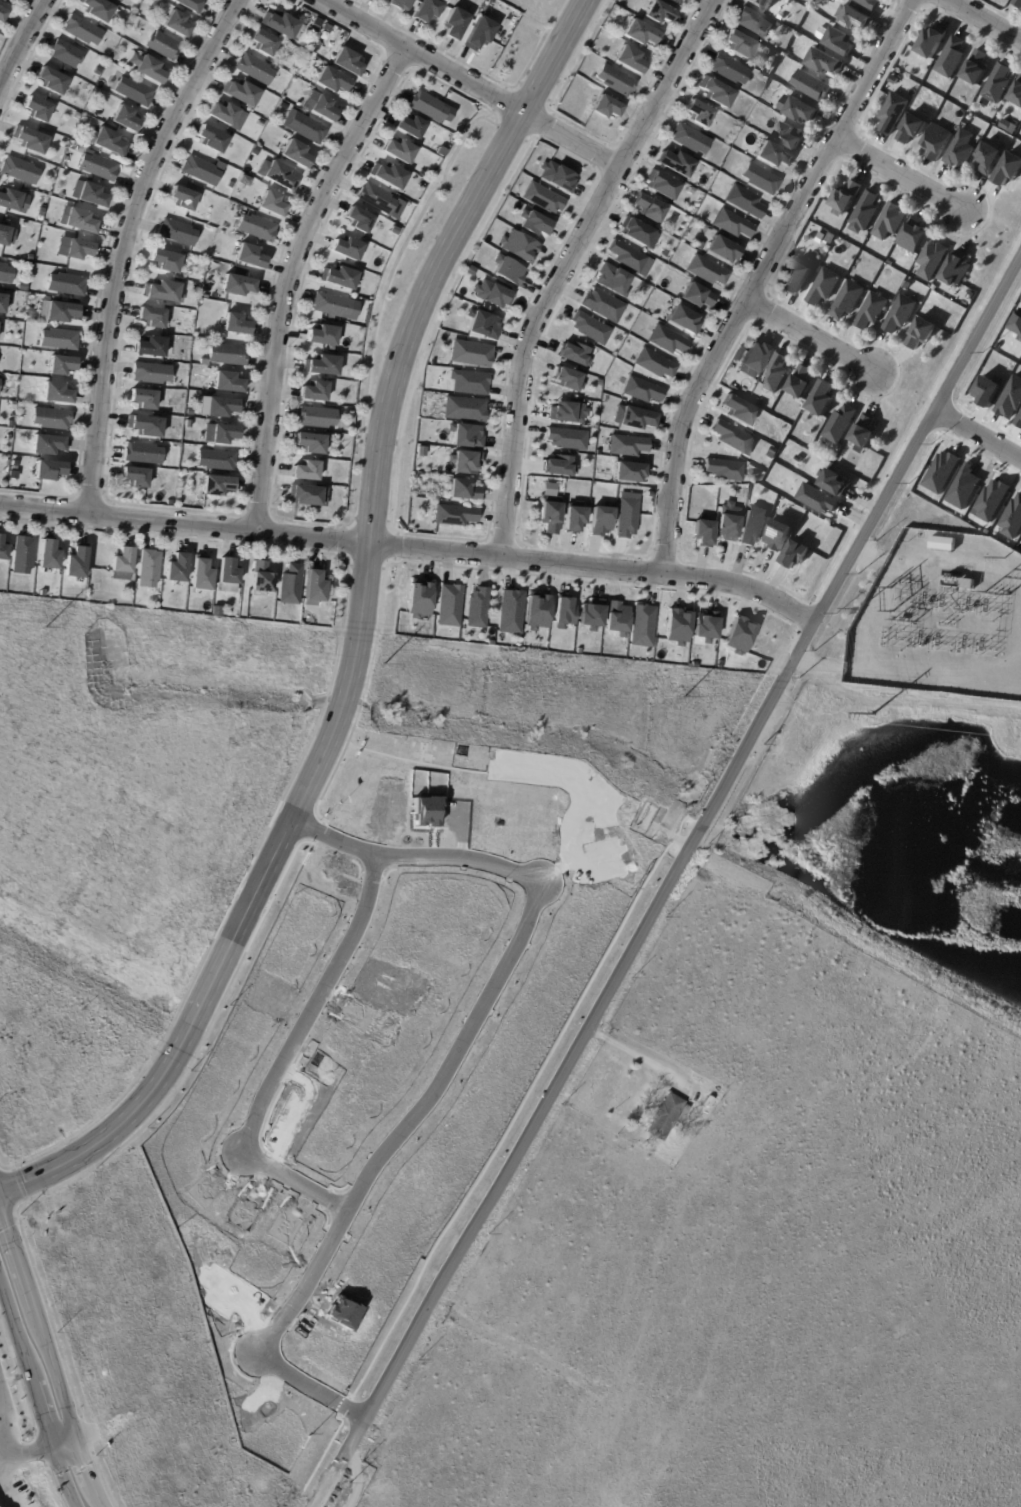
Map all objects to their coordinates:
building: (3, 0)
building: (14, 0)
building: (382, 0)
building: (120, 1)
building: (674, 2)
building: (1017, 3)
building: (190, 4)
building: (403, 4)
building: (763, 4)
building: (867, 4)
building: (99, 10)
building: (428, 10)
building: (658, 14)
building: (3, 15)
building: (778, 19)
building: (855, 19)
road: (983, 20)
building: (175, 22)
building: (456, 22)
building: (317, 23)
building: (753, 24)
building: (283, 26)
building: (83, 31)
building: (481, 33)
building: (639, 34)
building: (839, 42)
building: (931, 42)
road: (22, 43)
building: (265, 43)
building: (164, 45)
building: (737, 45)
building: (68, 54)
building: (116, 57)
building: (950, 58)
building: (629, 60)
building: (347, 62)
building: (824, 63)
building: (148, 68)
building: (255, 69)
building: (975, 69)
building: (726, 70)
building: (53, 81)
building: (332, 81)
building: (613, 81)
road: (471, 84)
building: (997, 84)
building: (810, 87)
building: (135, 91)
building: (243, 94)
building: (715, 94)
building: (1016, 95)
building: (282, 106)
building: (428, 106)
building: (324, 108)
building: (605, 108)
building: (38, 109)
building: (801, 111)
building: (224, 113)
building: (697, 114)
building: (892, 114)
building: (126, 119)
building: (260, 123)
building: (411, 126)
building: (306, 127)
building: (911, 128)
building: (788, 136)
building: (76, 137)
building: (212, 139)
building: (33, 140)
building: (687, 140)
building: (110, 142)
building: (936, 142)
building: (400, 150)
building: (960, 150)
building: (296, 154)
building: (771, 156)
building: (67, 159)
building: (987, 159)
building: (674, 163)
building: (99, 166)
building: (1007, 170)
building: (21, 171)
building: (202, 171)
road: (899, 173)
building: (280, 176)
building: (390, 176)
building: (555, 176)
building: (758, 180)
building: (660, 185)
building: (61, 195)
building: (92, 195)
building: (542, 198)
building: (846, 198)
building: (183, 199)
building: (10, 200)
building: (382, 201)
building: (743, 203)
building: (273, 204)
building: (648, 207)
building: (865, 211)
building: (41, 213)
building: (359, 220)
building: (81, 222)
building: (889, 222)
building: (533, 223)
building: (730, 225)
building: (257, 228)
building: (178, 233)
building: (636, 233)
building: (6, 236)
building: (912, 236)
road: (125, 245)
building: (518, 246)
building: (347, 249)
building: (79, 250)
building: (721, 250)
building: (250, 256)
building: (629, 258)
building: (31, 259)
building: (166, 261)
building: (931, 261)
road: (566, 265)
building: (506, 270)
building: (955, 271)
building: (705, 272)
building: (6, 274)
road: (756, 275)
road: (291, 276)
building: (797, 278)
building: (341, 279)
building: (611, 280)
building: (67, 285)
building: (238, 286)
building: (23, 287)
building: (823, 289)
building: (163, 292)
building: (492, 294)
building: (695, 296)
building: (846, 301)
building: (4, 304)
building: (601, 304)
building: (194, 305)
building: (332, 306)
building: (871, 312)
building: (60, 314)
building: (900, 315)
building: (152, 318)
building: (682, 321)
building: (482, 324)
building: (1017, 324)
building: (237, 325)
building: (589, 328)
building: (921, 334)
building: (322, 336)
road: (809, 336)
building: (60, 340)
building: (666, 342)
building: (151, 348)
building: (469, 353)
building: (573, 354)
building: (228, 356)
building: (752, 358)
building: (203, 362)
building: (653, 364)
building: (62, 366)
building: (323, 367)
building: (152, 374)
building: (775, 374)
building: (567, 378)
building: (468, 382)
building: (0, 383)
building: (228, 383)
building: (800, 383)
building: (986, 390)
building: (314, 392)
building: (642, 392)
building: (57, 394)
building: (742, 395)
building: (1010, 398)
building: (821, 399)
building: (144, 400)
building: (12, 406)
building: (223, 408)
building: (463, 408)
building: (737, 411)
building: (189, 412)
building: (566, 412)
building: (52, 419)
building: (317, 419)
building: (635, 419)
building: (1019, 422)
building: (840, 425)
building: (13, 427)
building: (148, 427)
building: (863, 432)
road: (978, 433)
building: (222, 434)
building: (465, 435)
building: (9, 438)
building: (565, 438)
building: (732, 438)
building: (311, 444)
building: (48, 445)
building: (627, 447)
building: (144, 454)
building: (216, 462)
building: (463, 462)
building: (557, 465)
building: (50, 471)
building: (722, 471)
building: (941, 471)
building: (306, 472)
building: (628, 472)
building: (136, 478)
building: (831, 481)
building: (217, 487)
building: (963, 487)
building: (462, 491)
building: (309, 497)
building: (817, 499)
building: (991, 500)
building: (169, 502)
building: (182, 504)
building: (455, 516)
building: (549, 516)
building: (1012, 516)
building: (625, 517)
building: (572, 518)
building: (599, 520)
building: (727, 521)
building: (752, 525)
building: (702, 533)
building: (777, 534)
building: (942, 544)
road: (412, 548)
building: (3, 551)
building: (794, 554)
building: (23, 555)
building: (50, 556)
power tower: (1003, 556)
building: (123, 562)
building: (77, 563)
building: (150, 570)
building: (177, 571)
building: (228, 574)
building: (201, 576)
building: (261, 580)
building: (967, 584)
building: (291, 586)
building: (314, 588)
building: (418, 598)
building: (448, 605)
building: (476, 608)
power tower: (857, 609)
building: (562, 610)
building: (509, 611)
building: (536, 612)
building: (735, 612)
building: (216, 614)
building: (590, 614)
building: (615, 617)
power substation: (941, 617)
building: (641, 625)
building: (676, 625)
building: (705, 625)
power tower: (43, 628)
building: (738, 634)
road: (357, 637)
power tower: (384, 666)
power tower: (683, 697)
power tower: (873, 714)
road: (668, 883)
road: (291, 1052)
road: (634, 1054)
road: (456, 1059)
building: (706, 1102)
building: (665, 1117)
road: (50, 1357)
road: (34, 1393)
road: (64, 1447)
road: (25, 1450)

